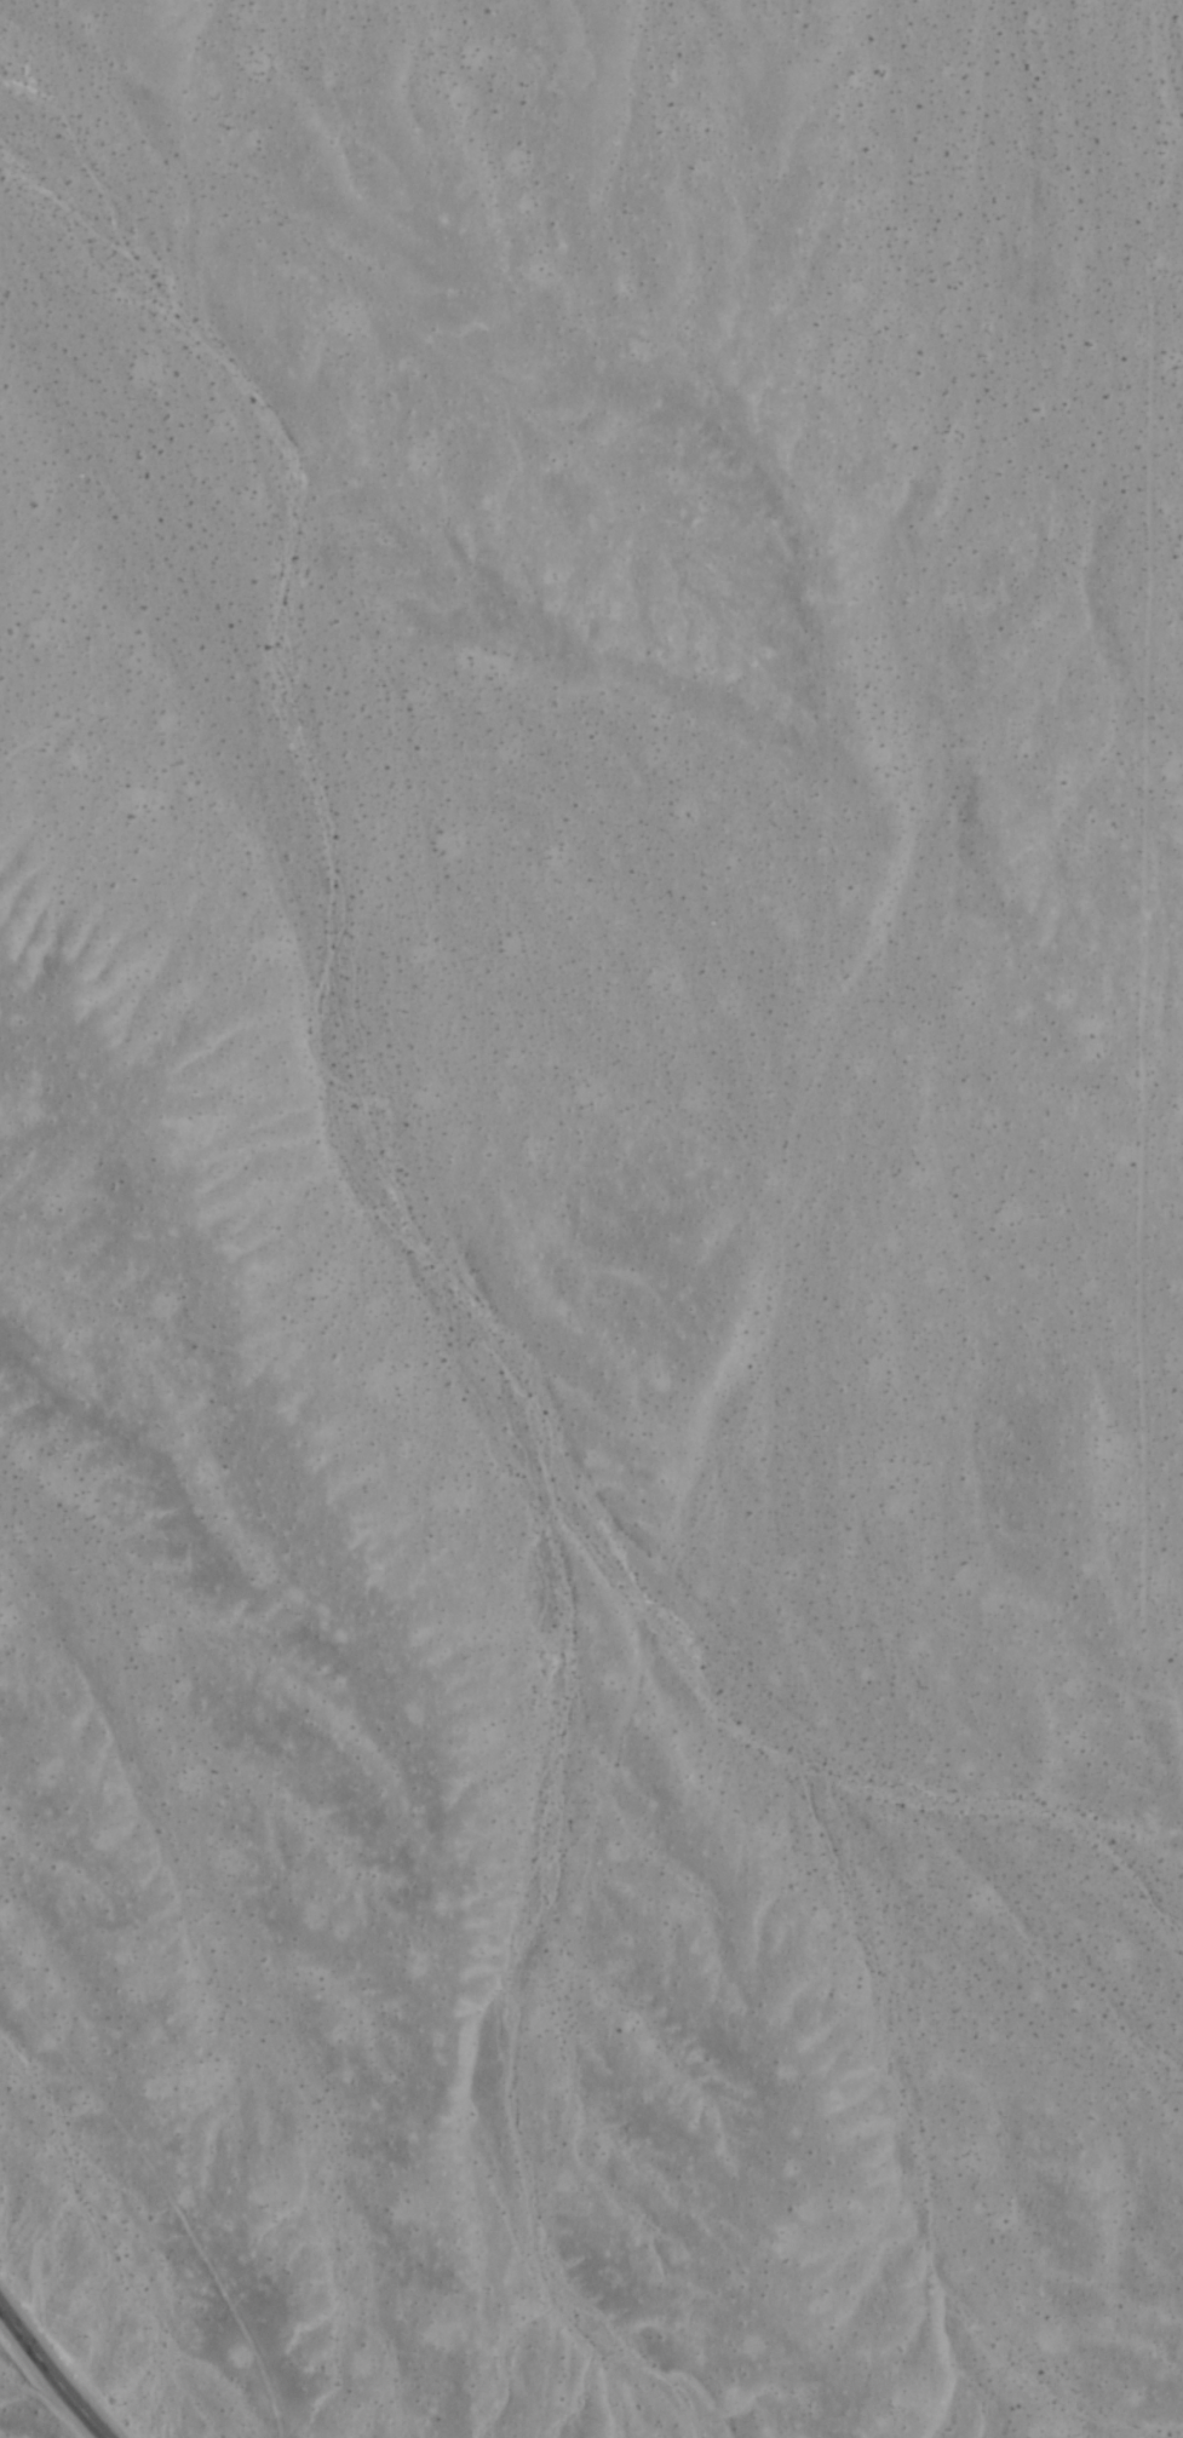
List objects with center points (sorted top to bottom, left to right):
road: (56, 2367)

